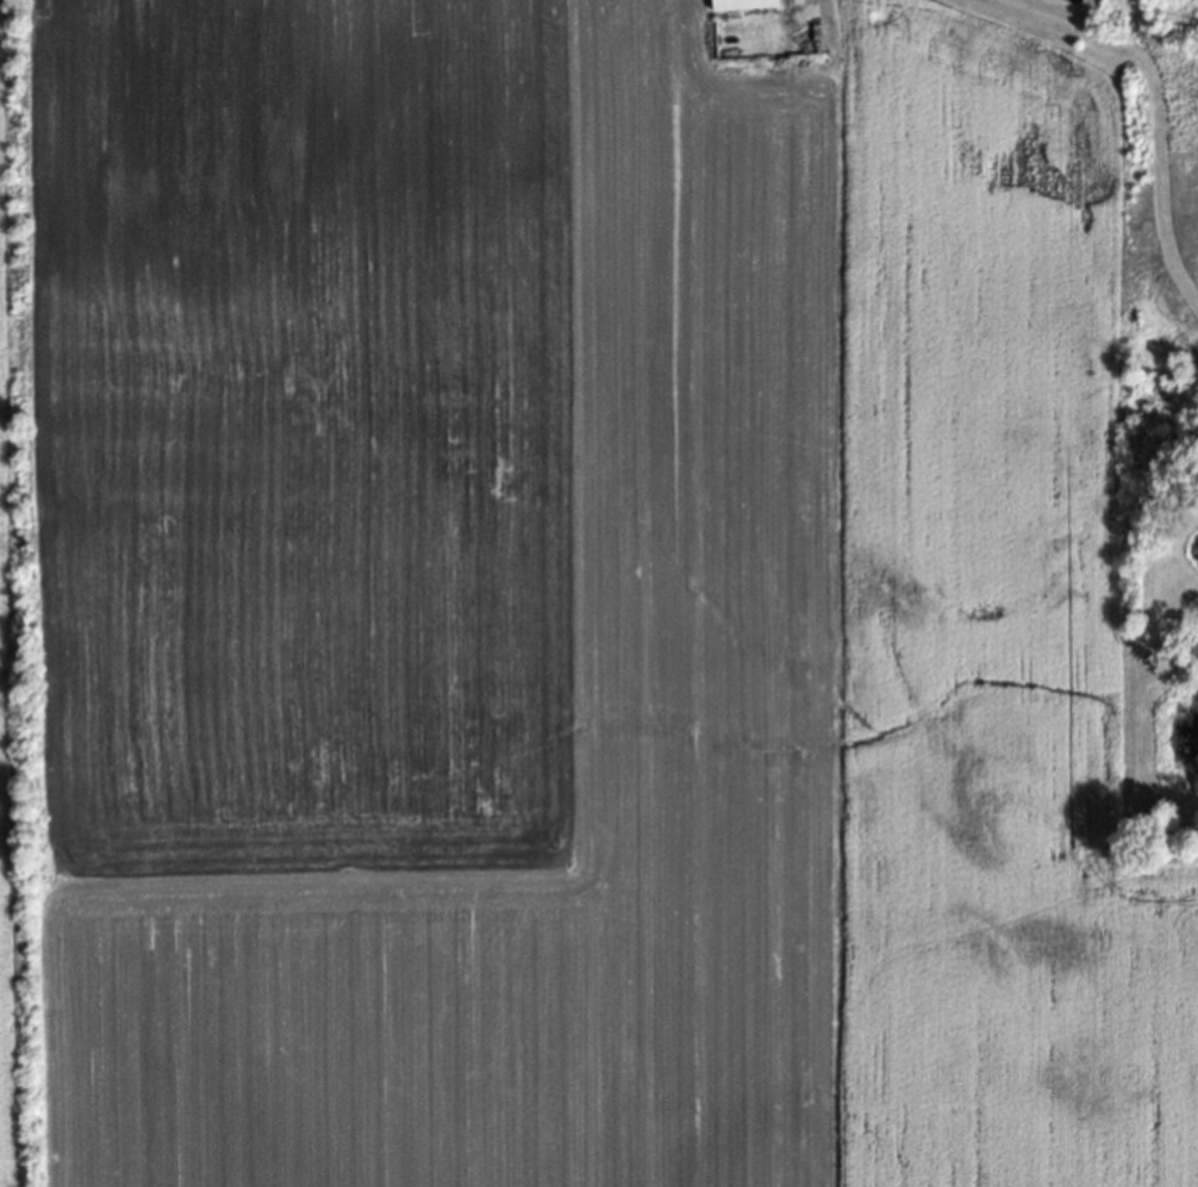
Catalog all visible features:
building: (745, 5)

